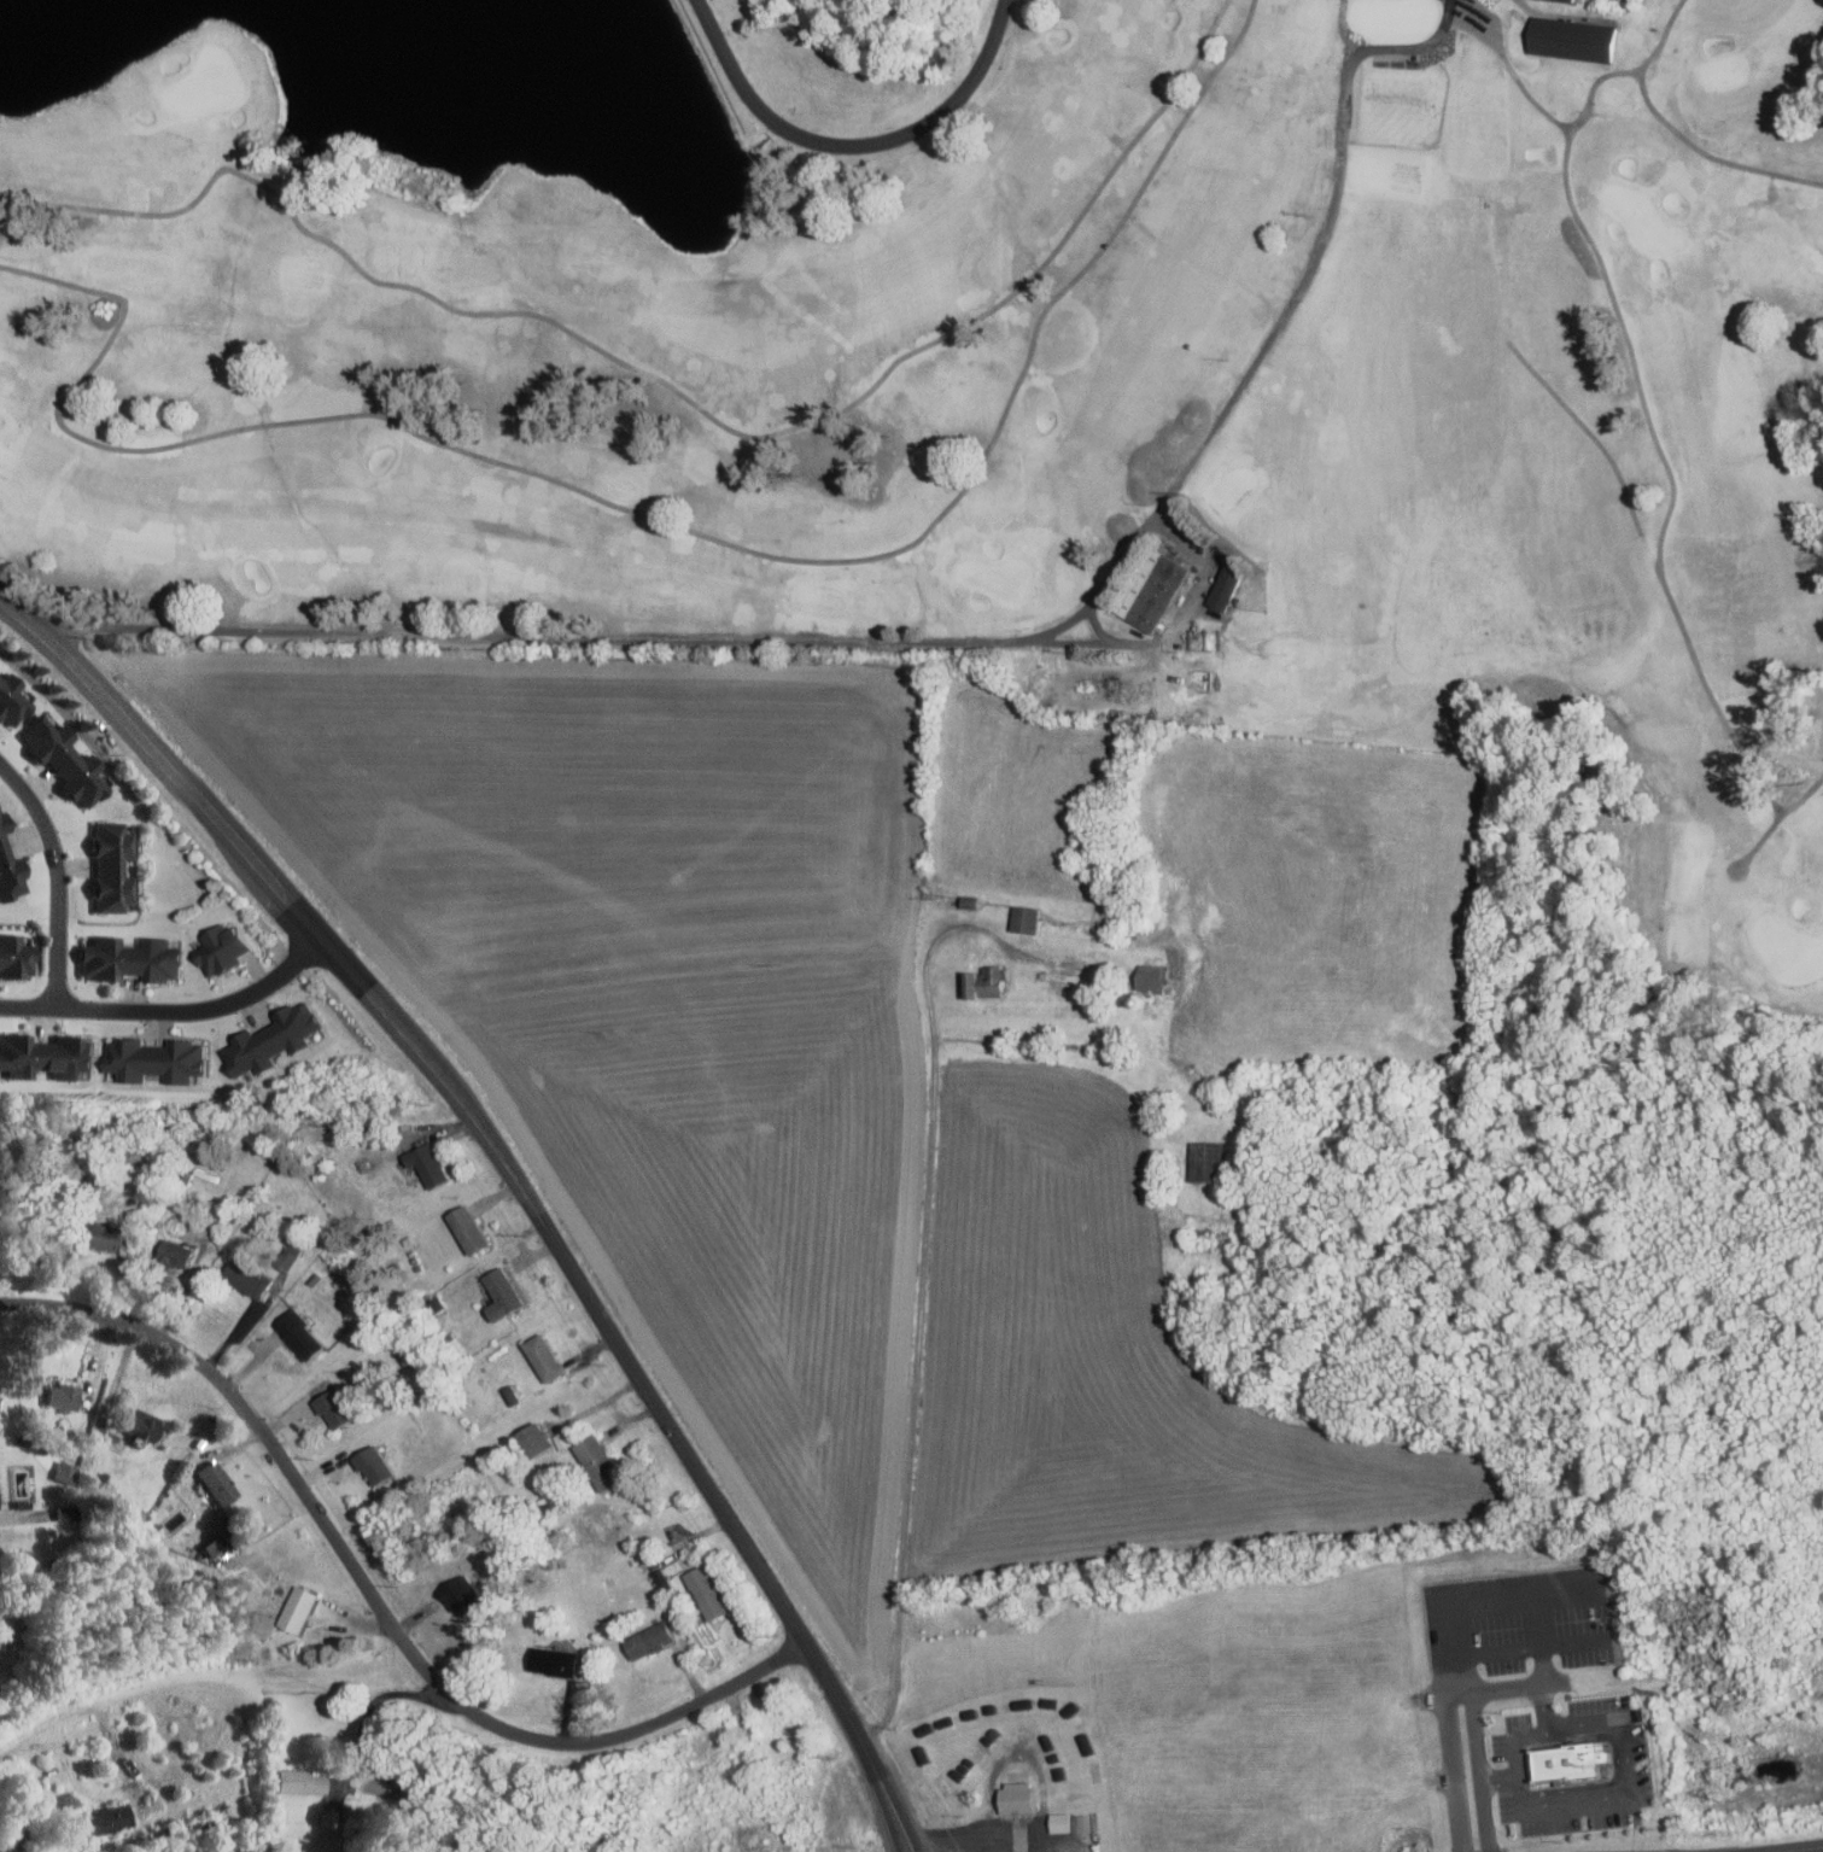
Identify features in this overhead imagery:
building: (1571, 0)
road: (1343, 28)
building: (1571, 35)
road: (1401, 47)
park: (1724, 69)
park: (204, 81)
road: (1590, 88)
road: (1677, 130)
road: (852, 146)
park: (1641, 216)
road: (1602, 270)
road: (1278, 315)
road: (673, 388)
park: (1017, 391)
road: (662, 519)
park: (994, 578)
building: (1225, 586)
building: (1149, 588)
road: (1672, 601)
road: (770, 639)
building: (13, 701)
building: (69, 760)
building: (113, 866)
building: (7, 867)
road: (62, 871)
building: (1027, 917)
park: (1787, 947)
building: (224, 950)
building: (19, 956)
building: (134, 960)
building: (982, 981)
road: (171, 1009)
building: (277, 1034)
building: (1111, 1041)
building: (48, 1056)
building: (158, 1059)
crop: (777, 1103)
building: (1210, 1161)
building: (428, 1164)
road: (514, 1180)
building: (469, 1228)
building: (111, 1238)
building: (177, 1252)
building: (290, 1255)
road: (921, 1274)
building: (247, 1278)
building: (503, 1297)
building: (297, 1332)
building: (545, 1356)
building: (65, 1394)
building: (513, 1394)
road: (112, 1395)
building: (333, 1407)
building: (144, 1422)
building: (538, 1438)
building: (561, 1438)
building: (598, 1461)
building: (375, 1464)
building: (66, 1471)
building: (218, 1482)
building: (0, 1506)
building: (70, 1512)
building: (664, 1578)
building: (708, 1591)
road: (374, 1601)
building: (299, 1609)
building: (264, 1620)
building: (652, 1638)
building: (555, 1661)
road: (1497, 1687)
road: (1542, 1705)
road: (368, 1708)
road: (83, 1711)
building: (946, 1720)
road: (1589, 1724)
road: (1512, 1739)
building: (1570, 1758)
road: (1478, 1769)
road: (1451, 1771)
road: (1498, 1777)
building: (1309, 1780)
building: (299, 1782)
building: (943, 1783)
building: (1017, 1799)
road: (1585, 1805)
building: (329, 1817)
building: (109, 1819)
building: (1070, 1822)
road: (983, 1833)
road: (1792, 1848)

